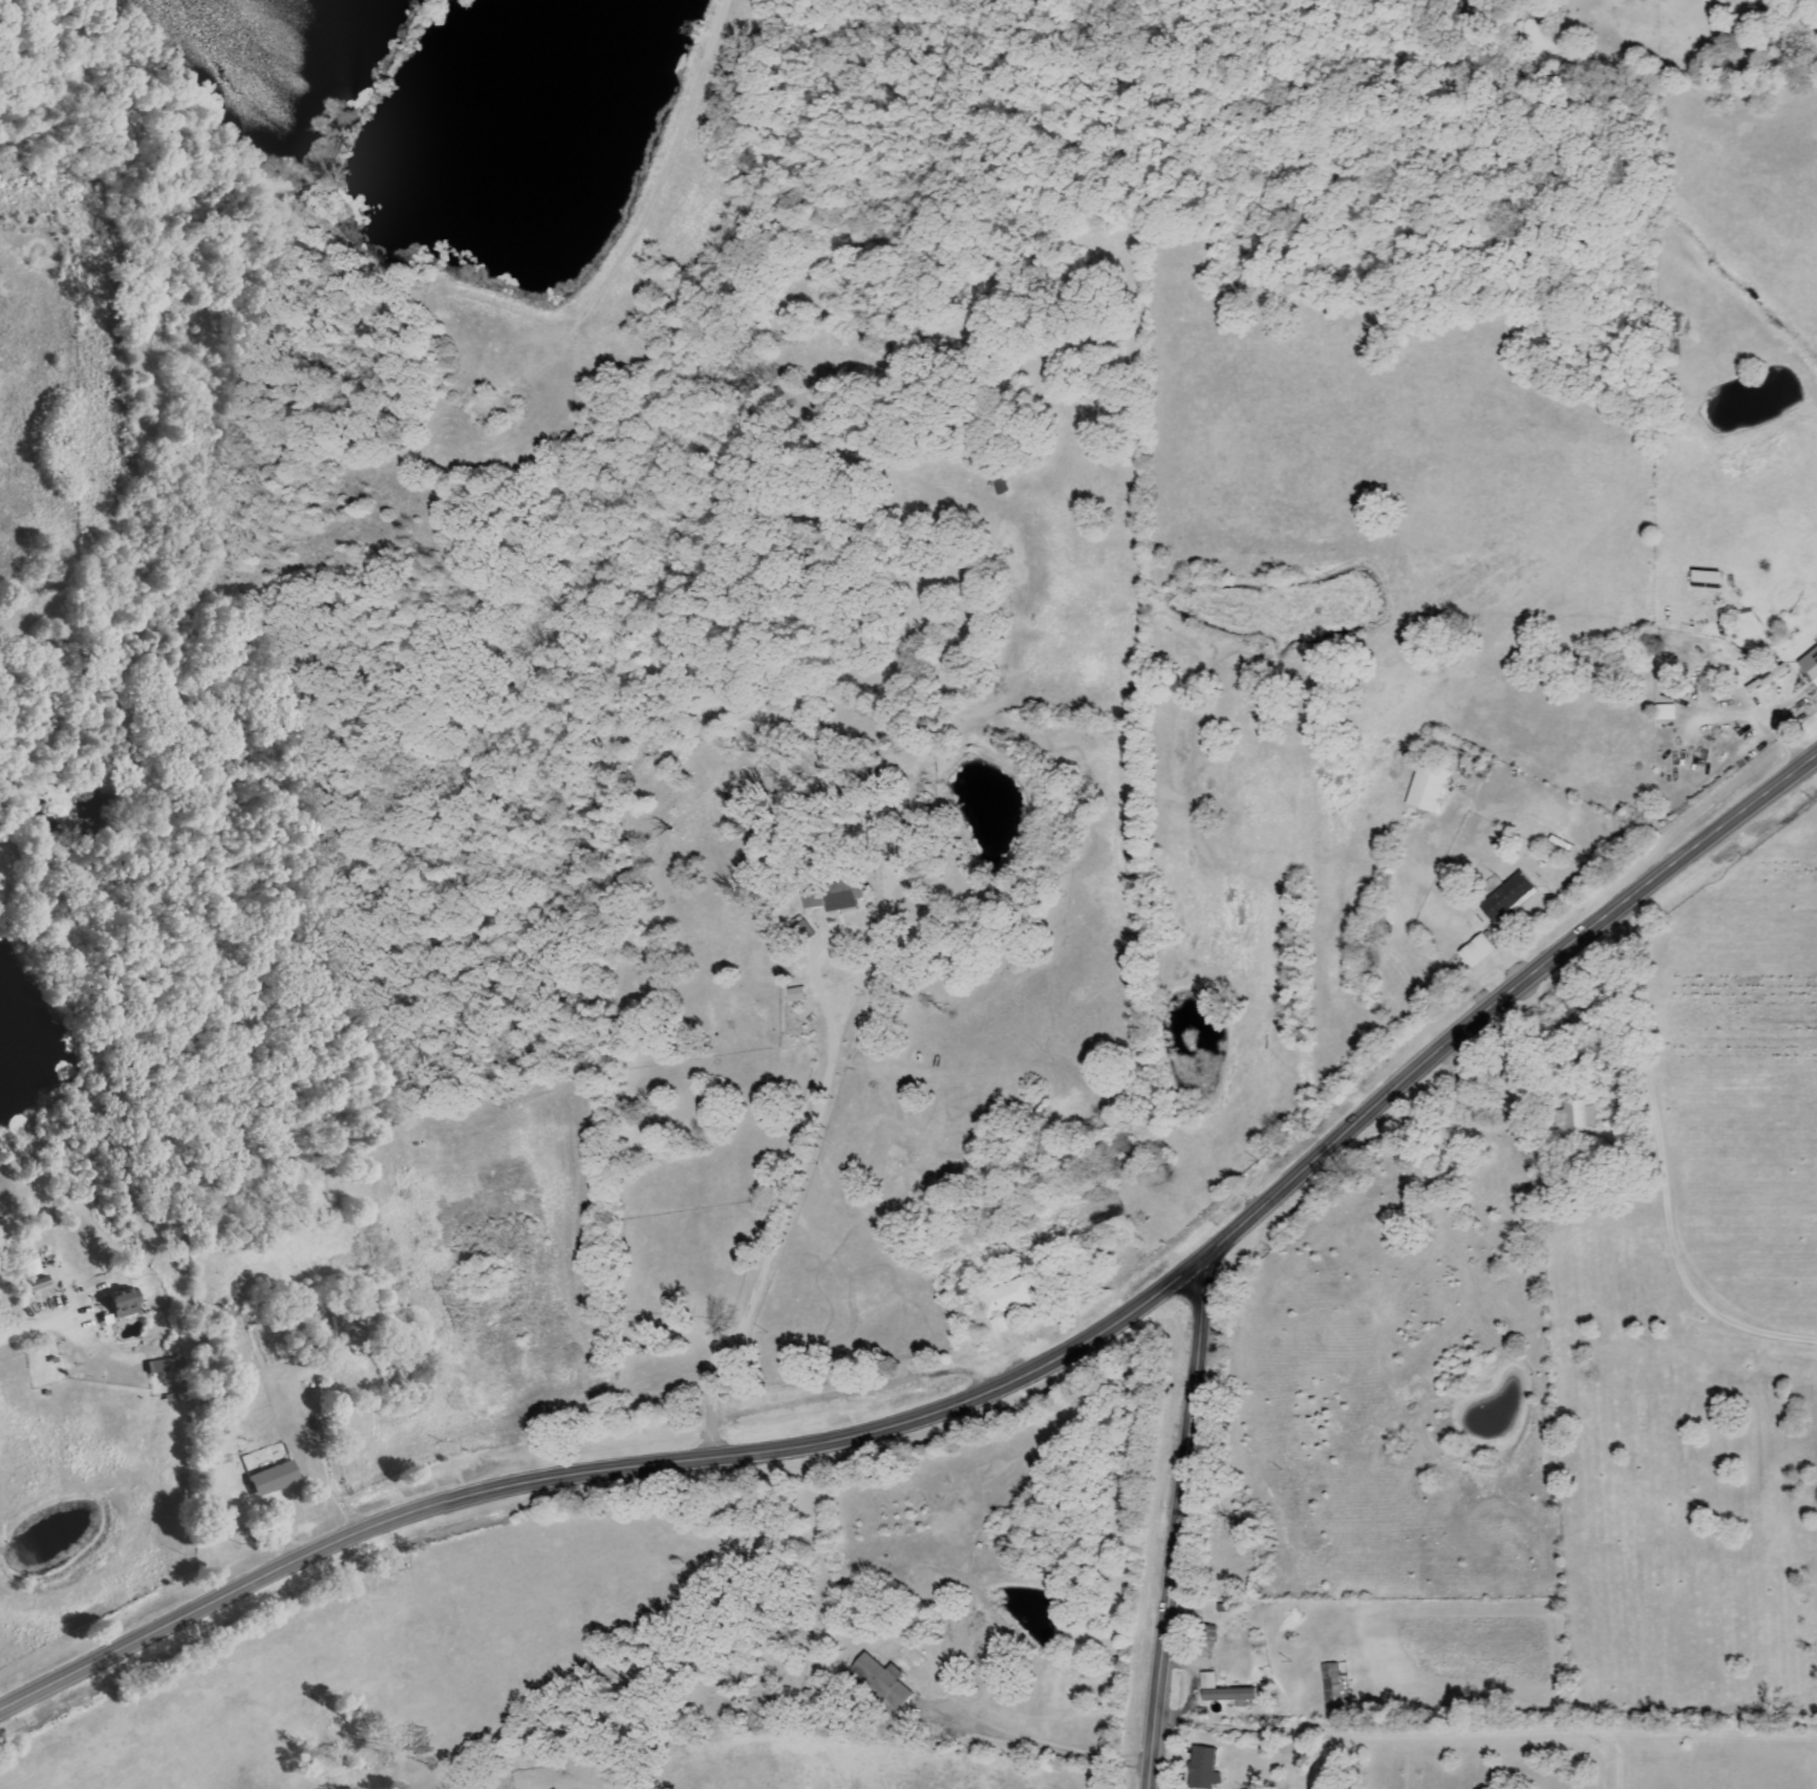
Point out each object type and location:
building: (1746, 0)
building: (1809, 666)
building: (1765, 680)
building: (1426, 787)
building: (832, 896)
building: (1506, 896)
building: (1474, 950)
building: (1576, 1117)
road: (1664, 1175)
road: (780, 1220)
building: (1006, 1296)
building: (120, 1305)
road: (39, 1323)
building: (998, 1325)
building: (162, 1366)
road: (983, 1391)
building: (270, 1479)
road: (1177, 1523)
building: (880, 1679)
road: (1192, 1683)
building: (1334, 1683)
building: (1221, 1692)
road: (1279, 1729)
road: (1503, 1732)
road: (1038, 1743)
building: (1202, 1768)

